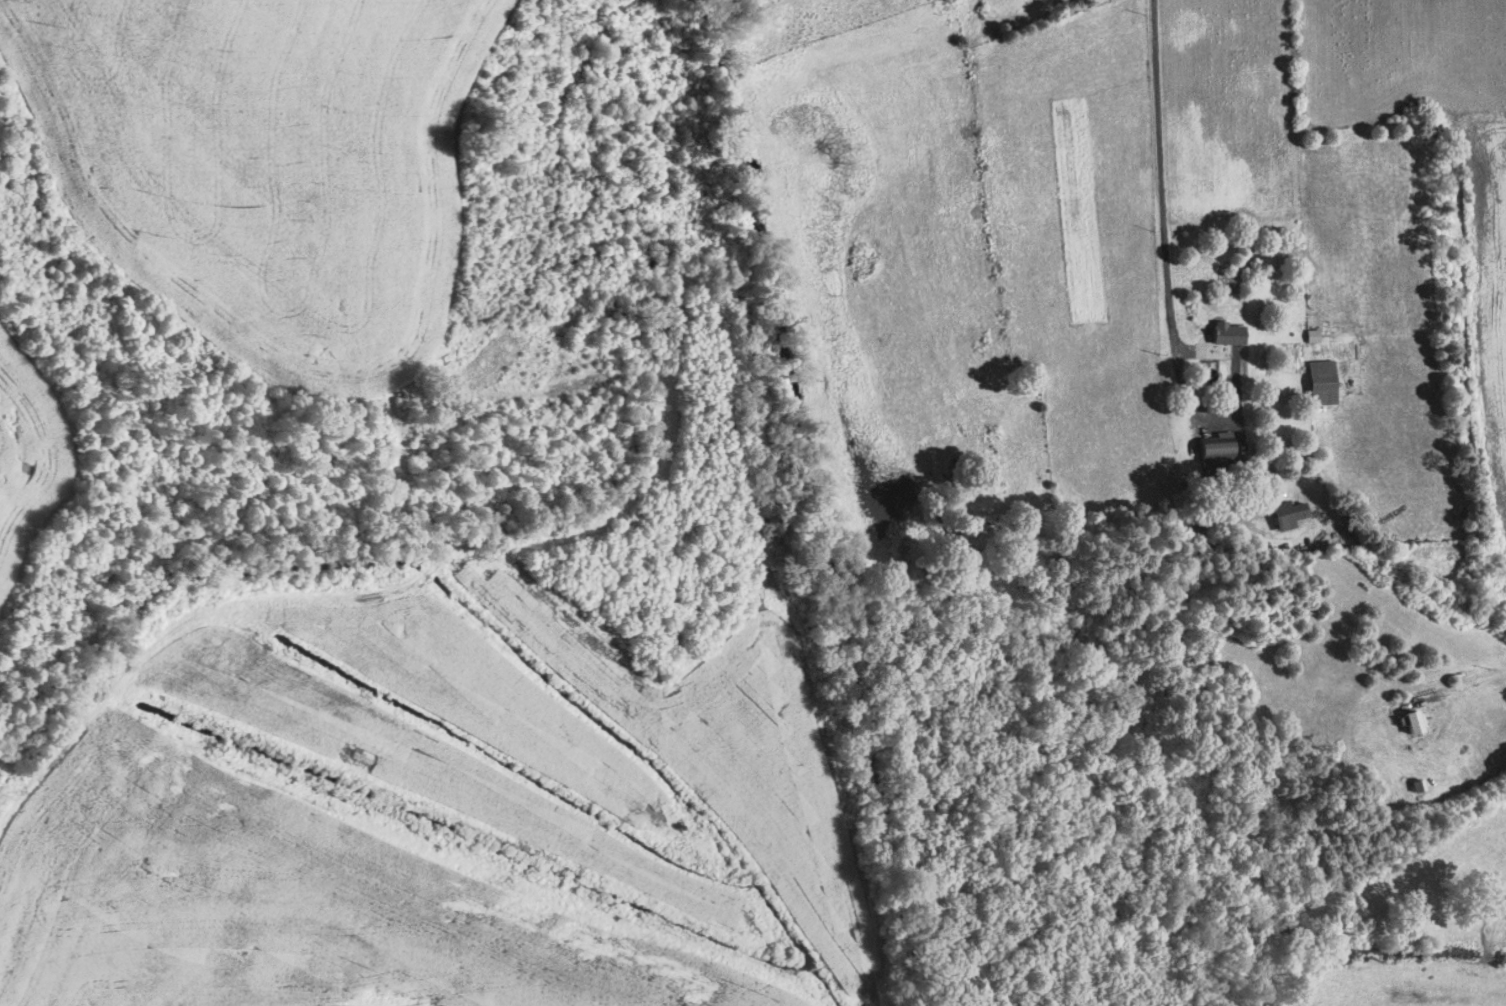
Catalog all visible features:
road: (1159, 206)
building: (1229, 333)
building: (1217, 453)
building: (1289, 514)
building: (1197, 532)
road: (1464, 685)
building: (1415, 723)

